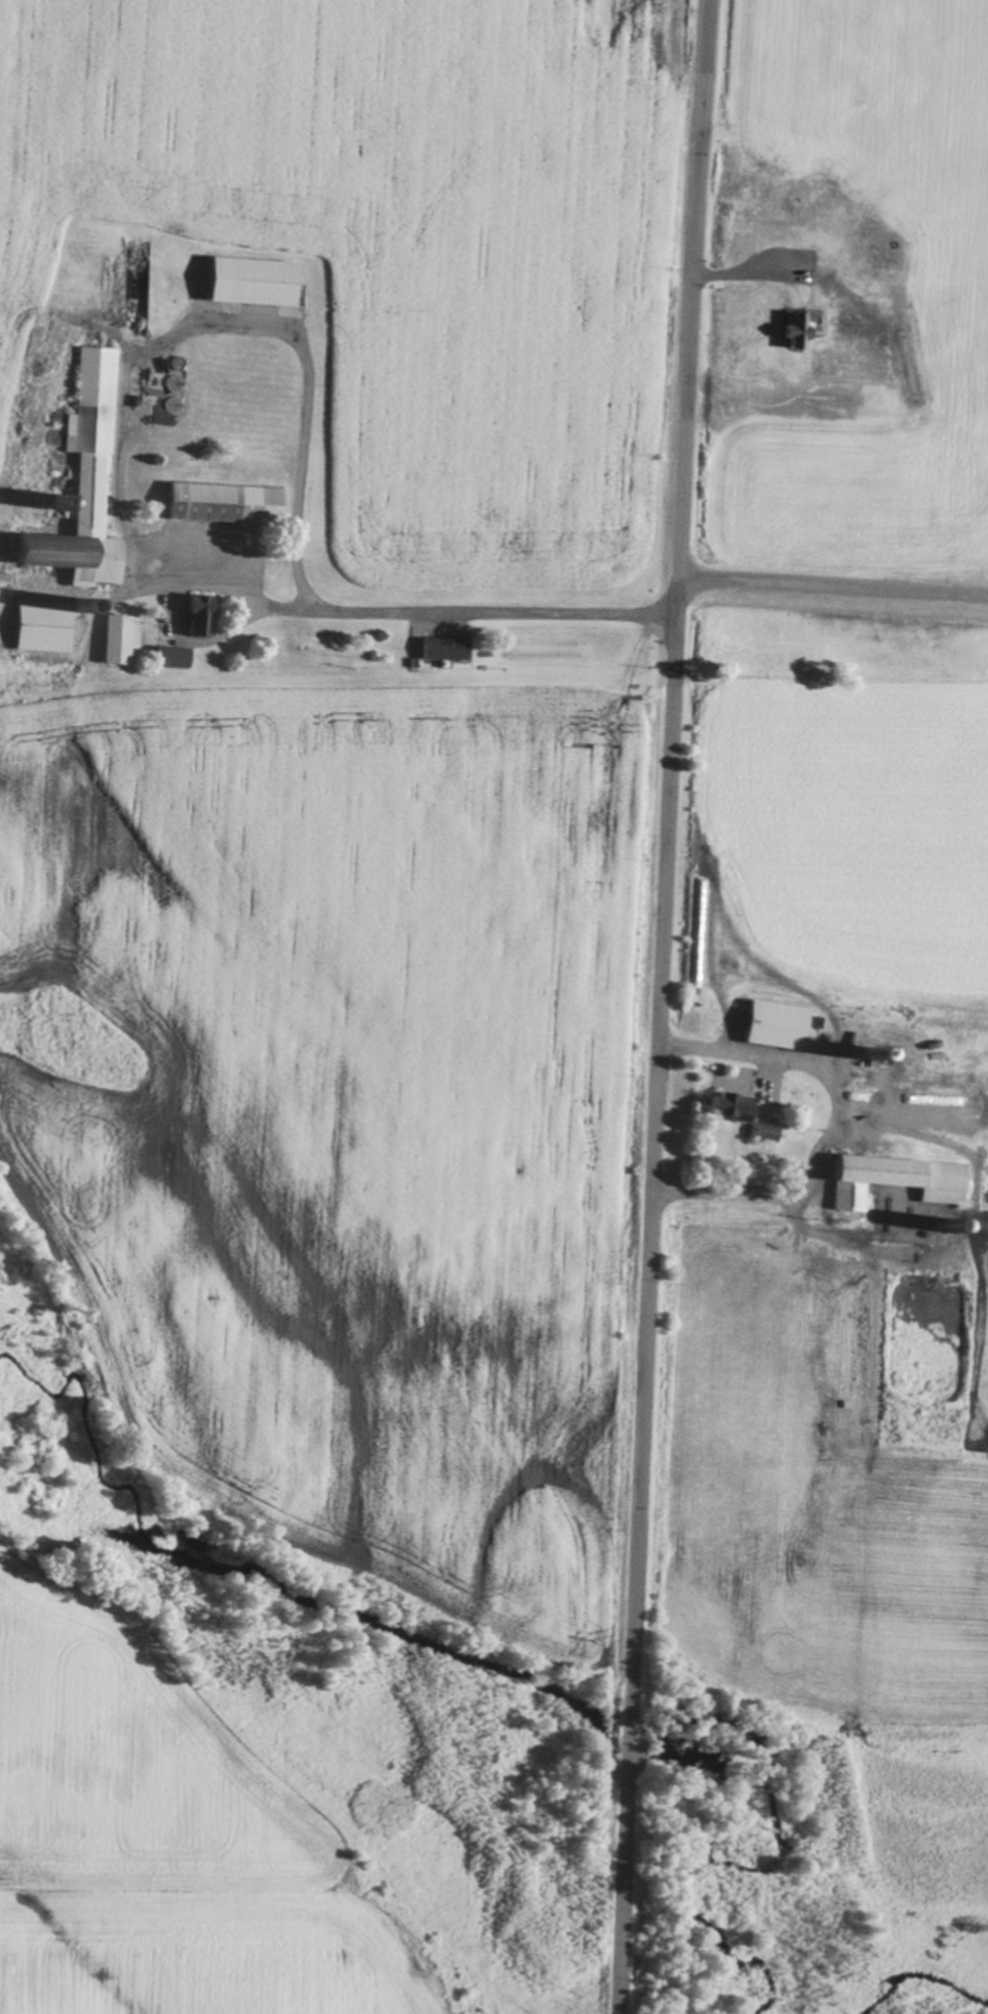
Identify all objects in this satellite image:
building: (719, 239)
building: (799, 268)
road: (724, 275)
building: (250, 282)
building: (794, 328)
road: (297, 362)
building: (224, 385)
building: (78, 482)
building: (224, 505)
road: (831, 582)
road: (491, 613)
building: (199, 614)
building: (42, 627)
building: (114, 640)
building: (442, 649)
building: (172, 658)
road: (656, 1006)
building: (775, 1027)
building: (879, 1082)
building: (730, 1108)
road: (833, 1124)
building: (763, 1133)
building: (889, 1178)

